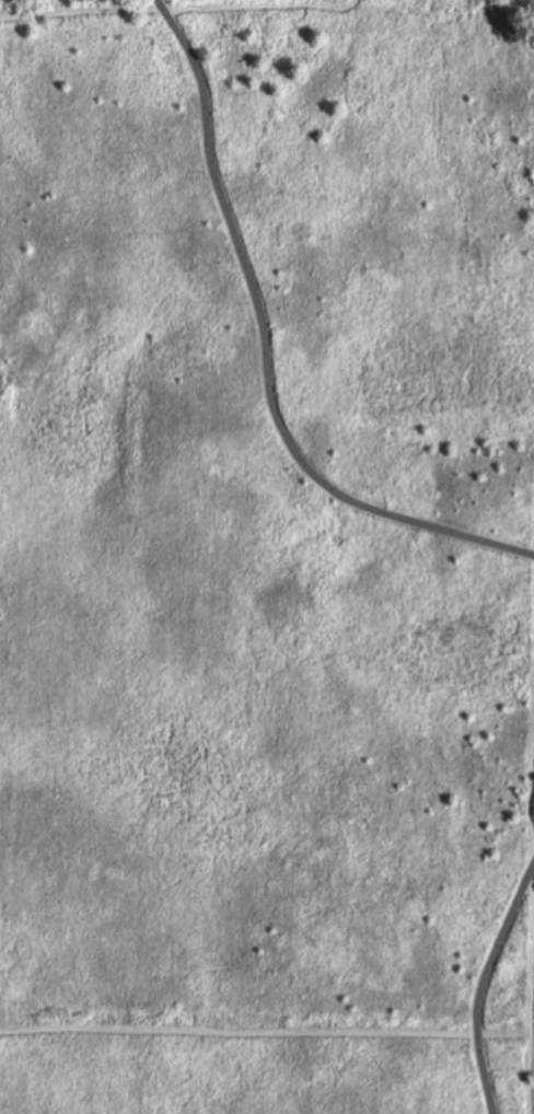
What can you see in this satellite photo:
road: (177, 8)
road: (264, 353)
road: (533, 836)
road: (483, 986)
road: (264, 1031)

